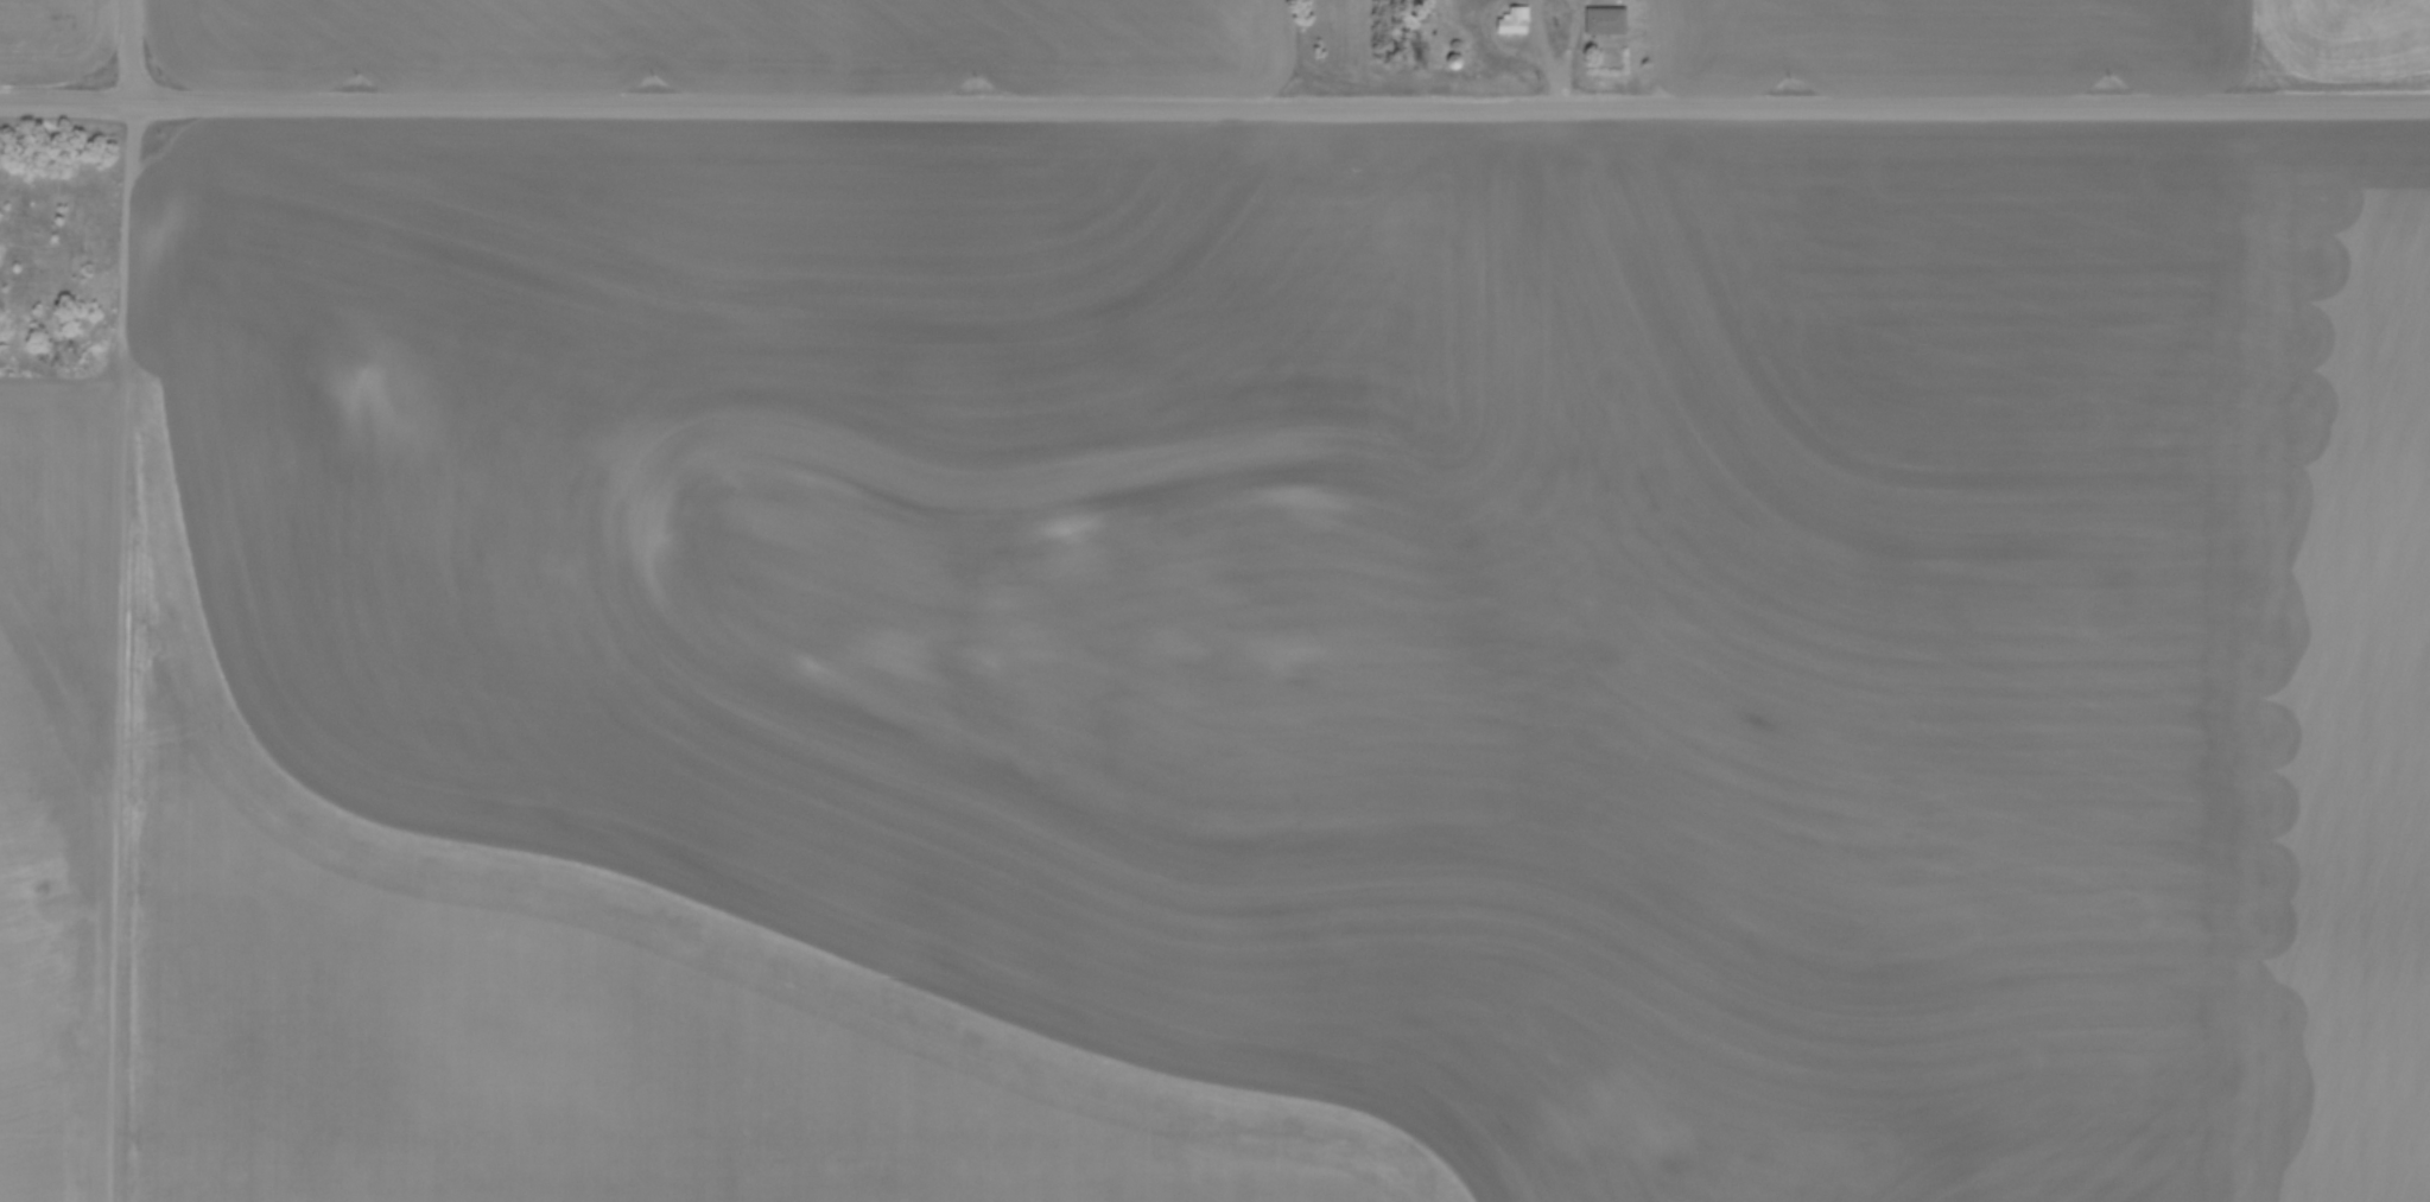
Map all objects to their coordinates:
road: (1485, 8)
building: (1517, 19)
building: (1607, 20)
road: (1573, 33)
crop: (55, 38)
crop: (2049, 38)
silo: (1459, 44)
crop: (731, 45)
road: (1498, 46)
road: (133, 51)
road: (1550, 55)
silo: (1458, 59)
road: (1214, 107)
building: (55, 335)
crop: (1230, 668)

